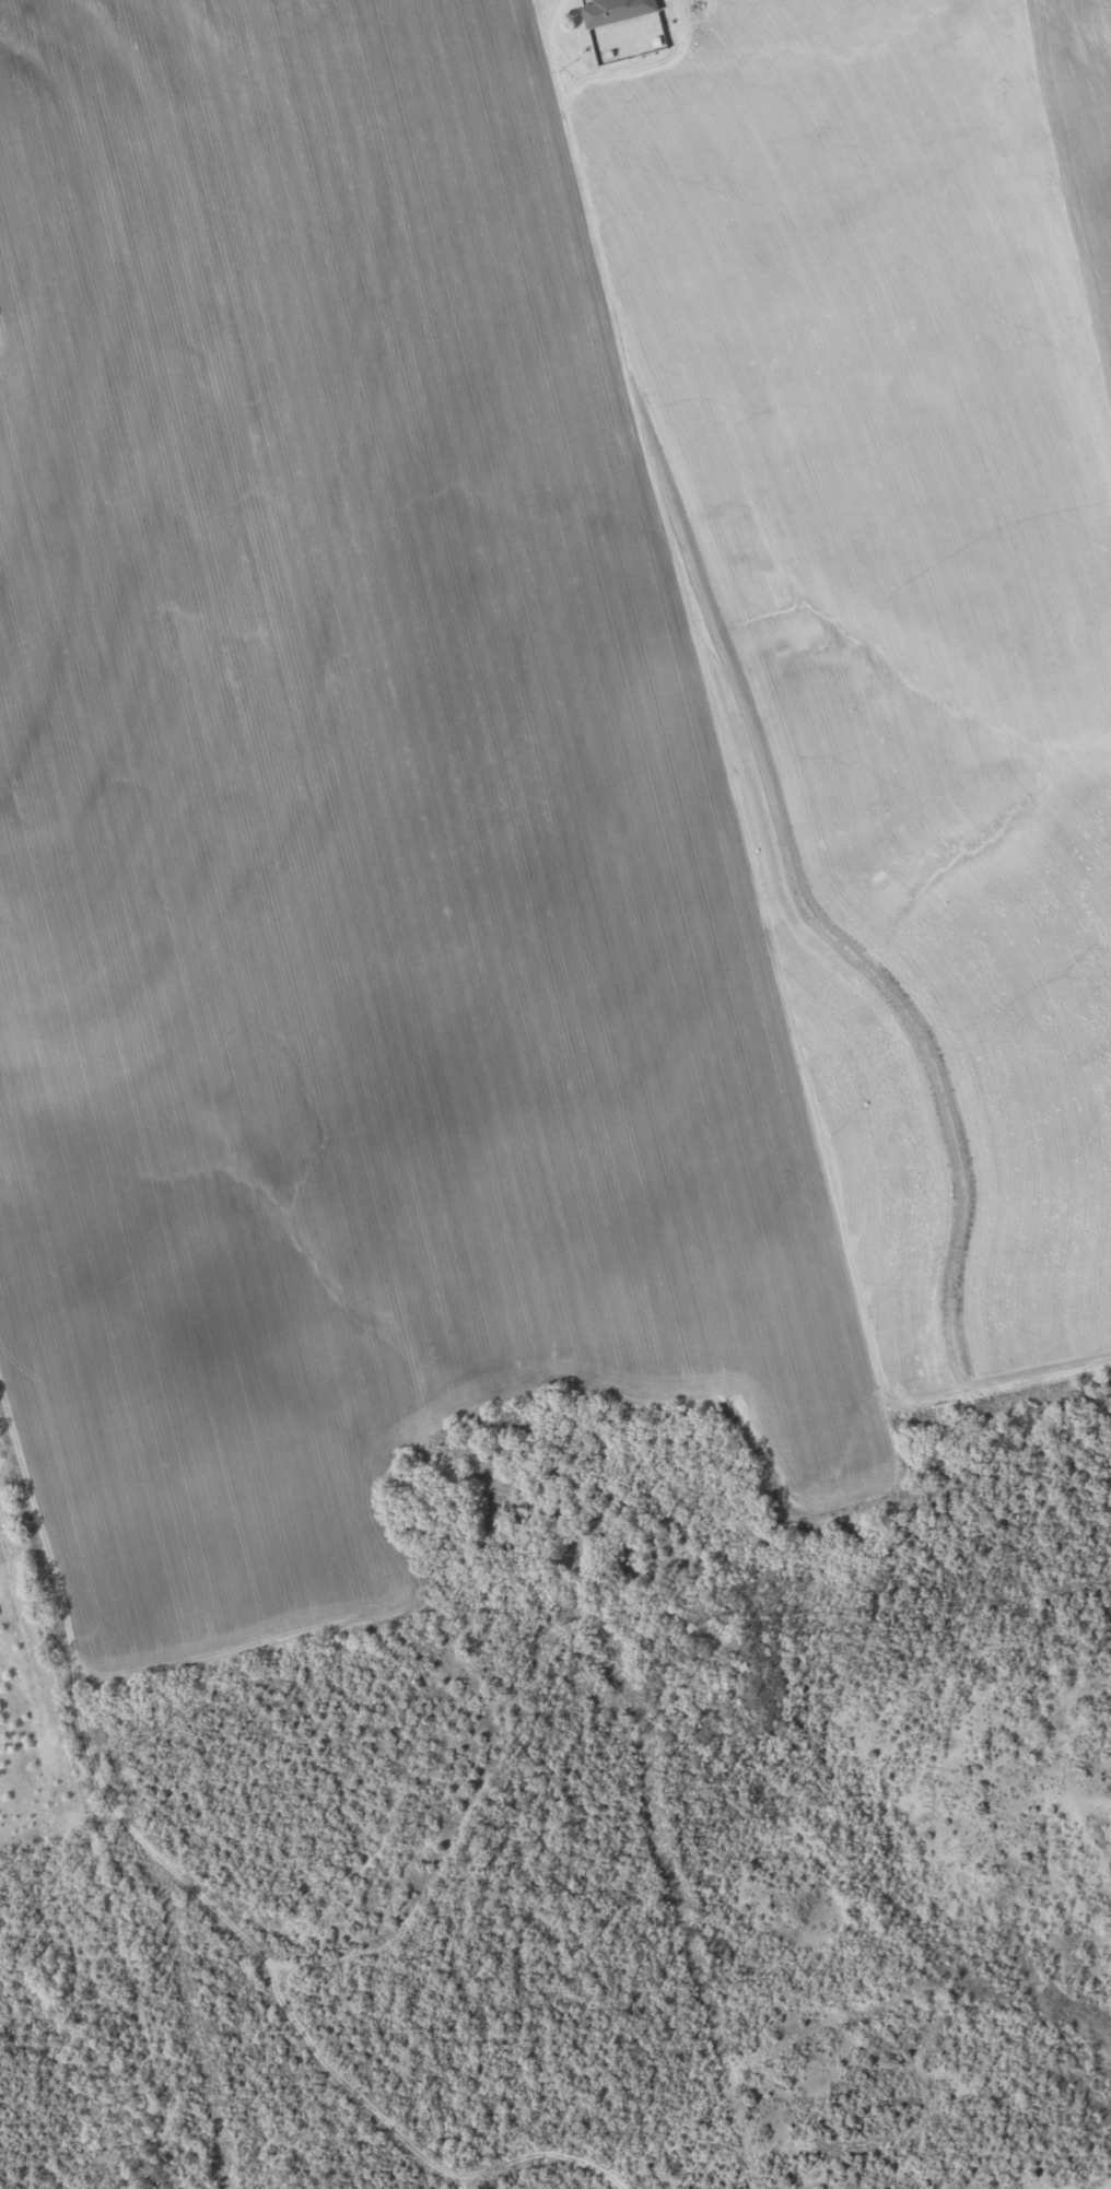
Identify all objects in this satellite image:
building: (620, 10)

